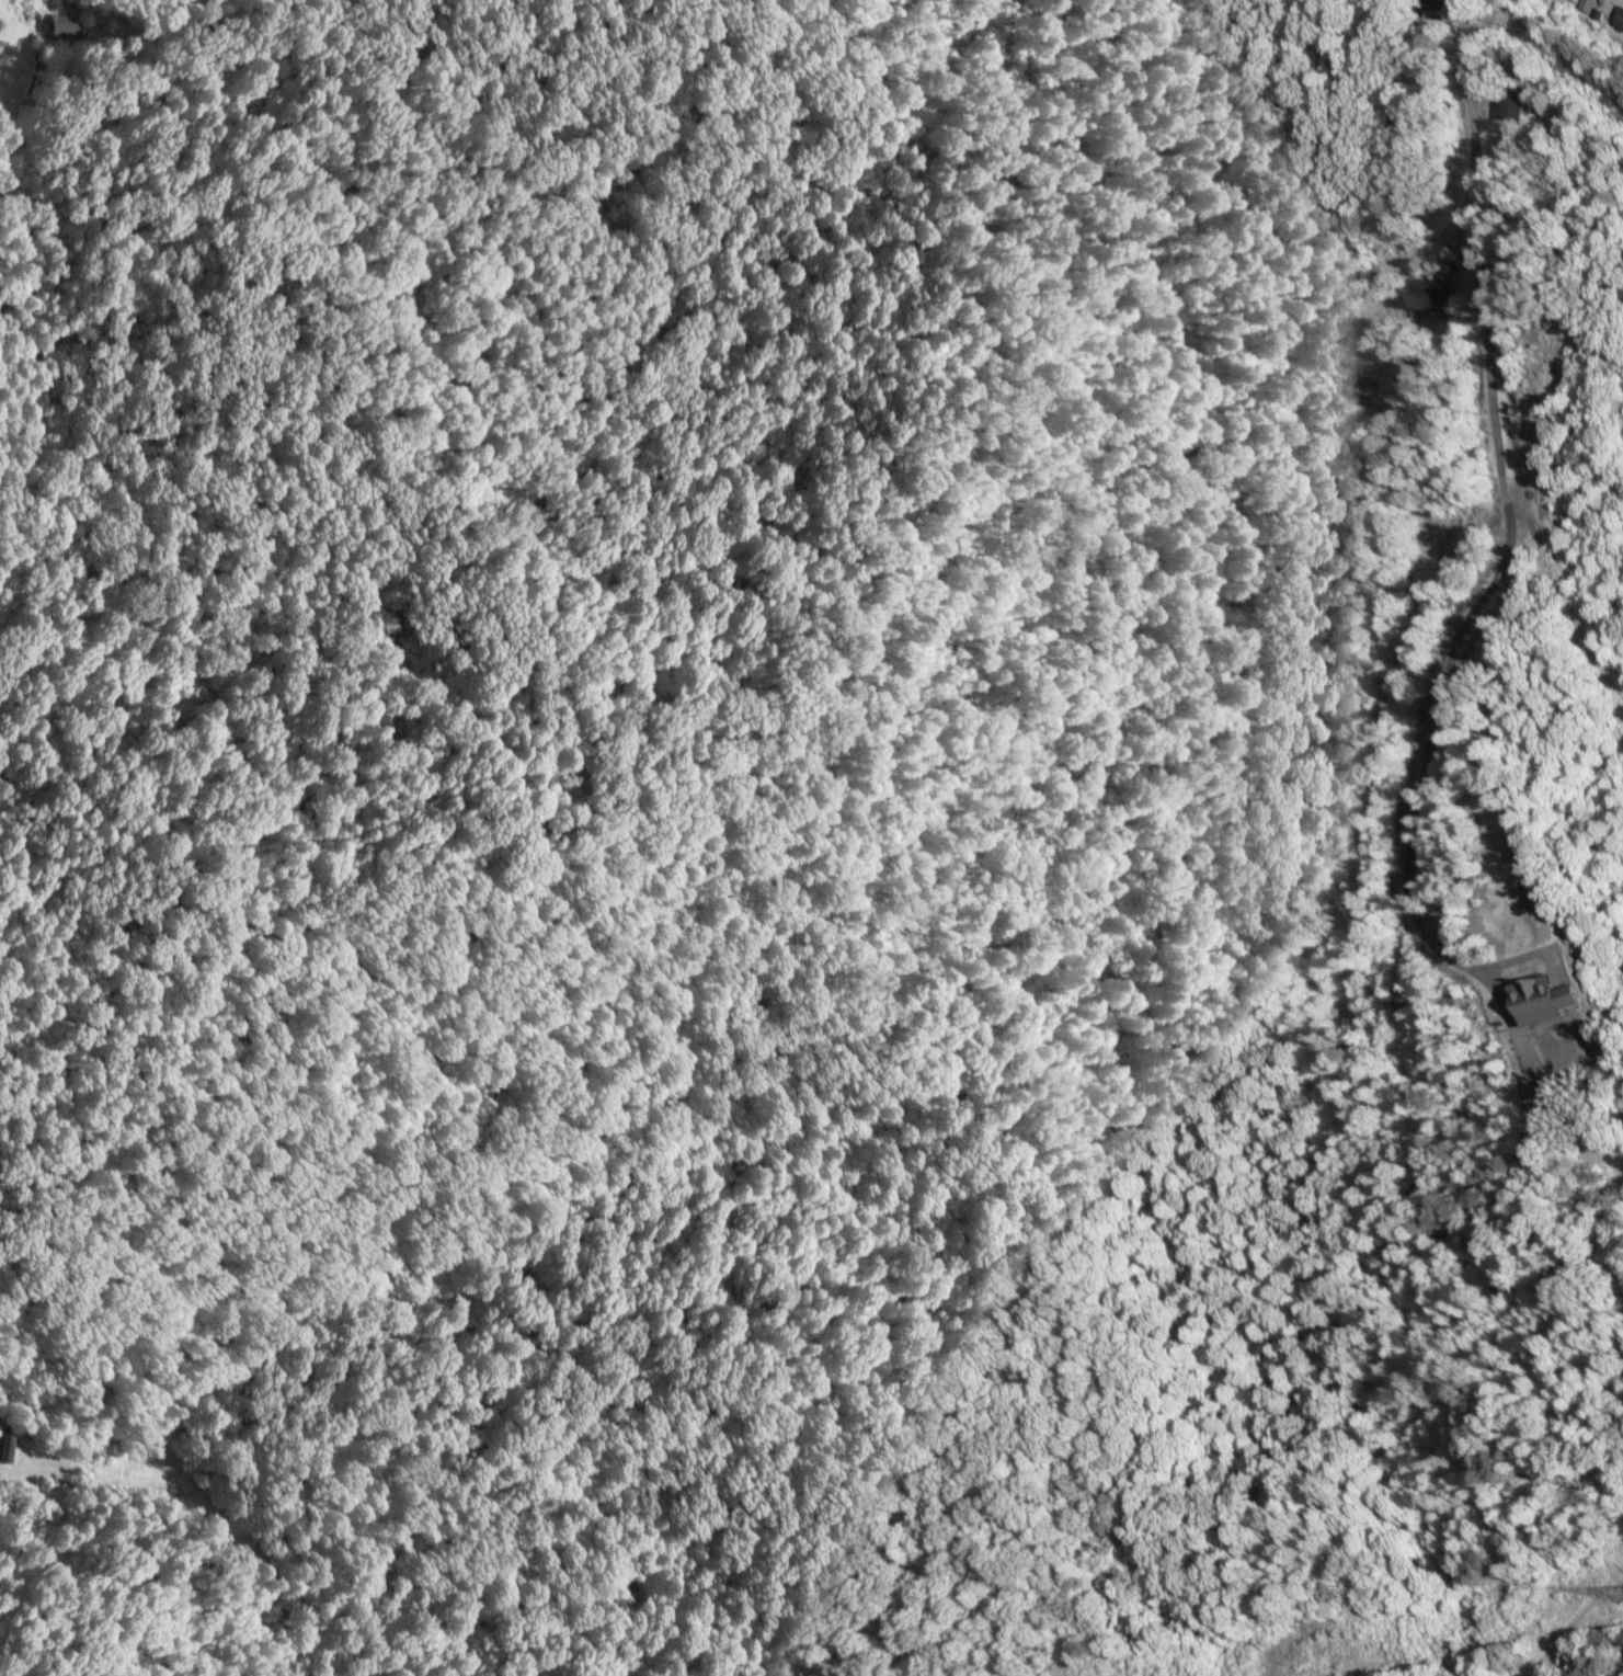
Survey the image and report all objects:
building: (1435, 5)
building: (1618, 19)
road: (1558, 56)
building: (1509, 106)
road: (1470, 160)
building: (1427, 295)
building: (1541, 1001)
building: (1538, 1096)

